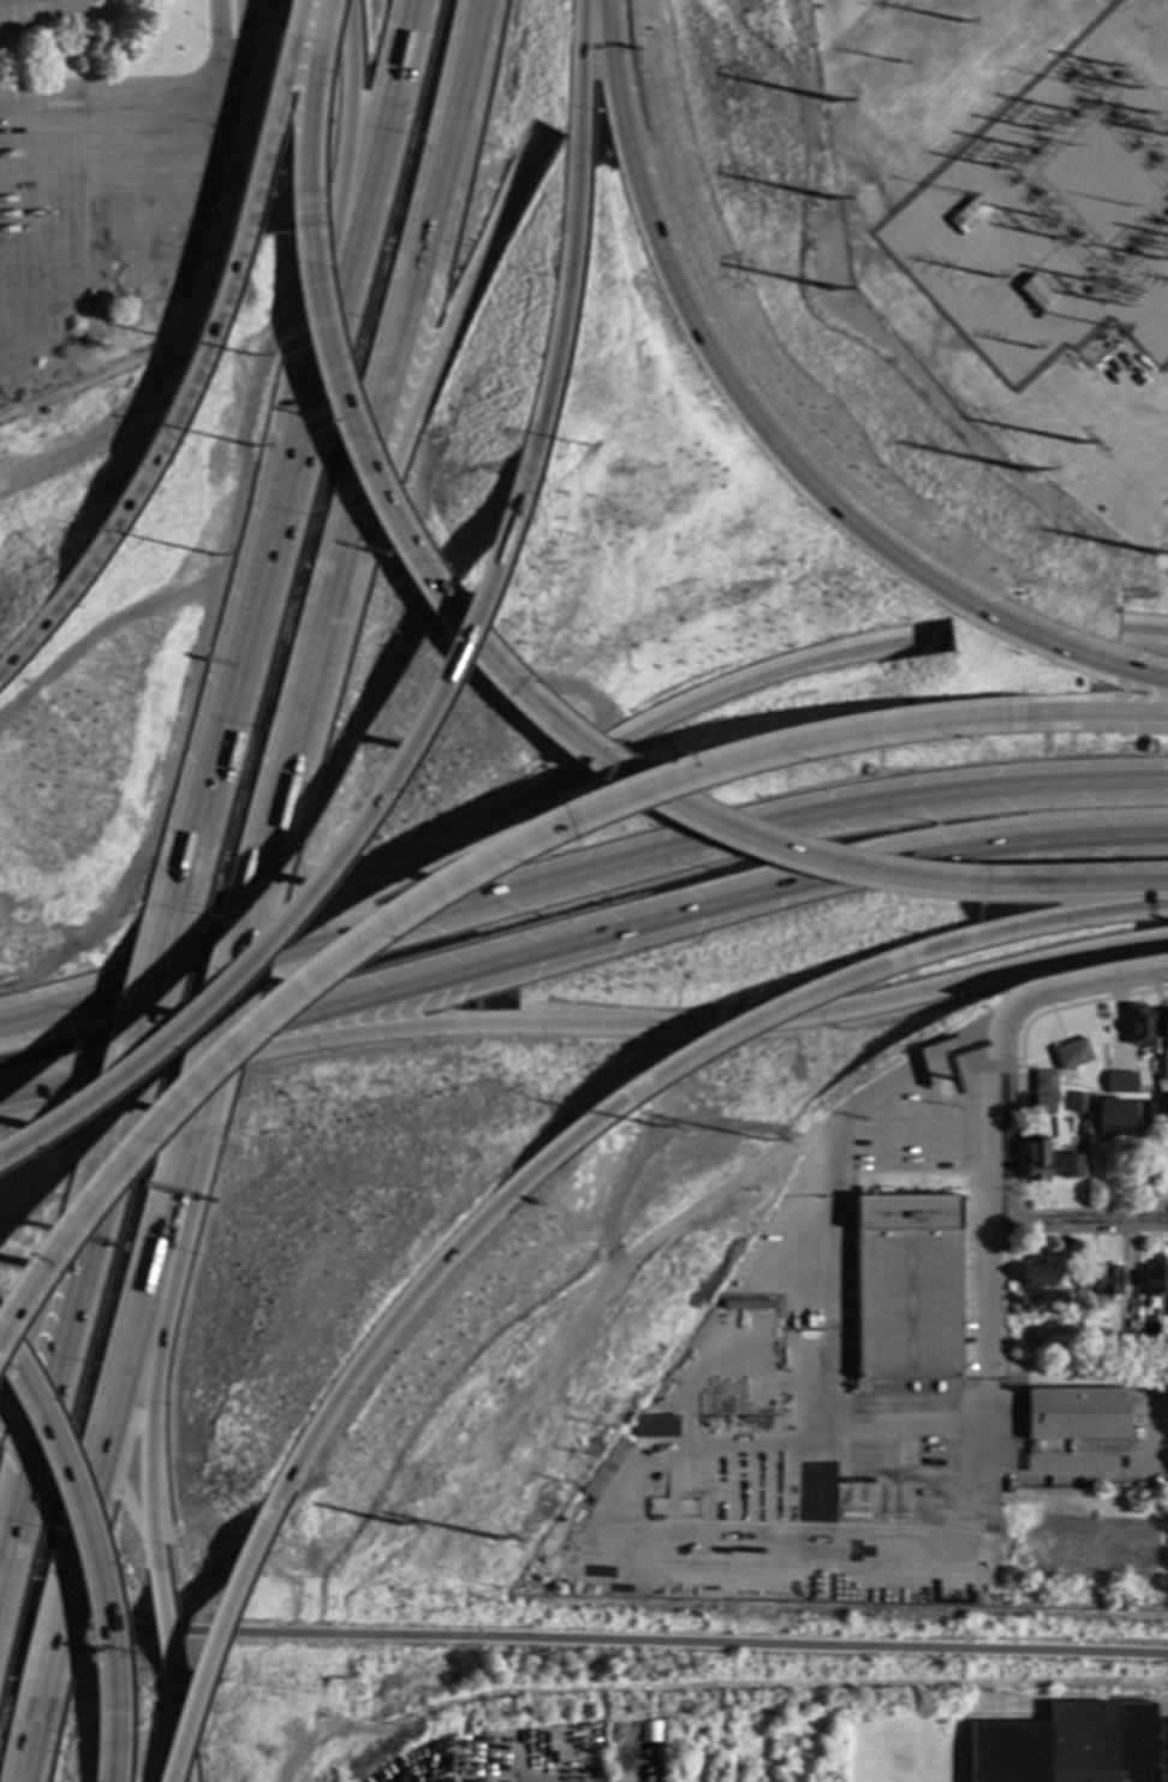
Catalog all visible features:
road: (58, 7)
parking lot: (34, 17)
road: (13, 19)
power tower: (958, 20)
road: (42, 24)
road: (219, 43)
road: (246, 43)
power tower: (893, 64)
power tower: (1120, 82)
road: (117, 85)
power tower: (832, 100)
road: (306, 101)
power tower: (1045, 119)
power tower: (1154, 123)
power tower: (1006, 158)
road: (443, 161)
road: (155, 188)
road: (341, 189)
road: (368, 189)
road: (106, 192)
power tower: (828, 197)
parking lot: (103, 203)
power substation: (1057, 212)
building: (967, 215)
road: (62, 218)
road: (570, 227)
power tower: (1047, 227)
road: (16, 242)
power tower: (1162, 250)
power tower: (991, 278)
power tower: (833, 287)
road: (169, 290)
power tower: (1091, 291)
building: (1035, 292)
road: (437, 340)
power tower: (1031, 348)
power tower: (249, 354)
road: (198, 357)
road: (125, 420)
road: (767, 438)
road: (376, 440)
power tower: (254, 445)
power tower: (1071, 446)
power tower: (1020, 470)
road: (397, 531)
power tower: (1154, 552)
power tower: (211, 554)
road: (1144, 631)
road: (243, 652)
road: (1096, 713)
road: (302, 720)
road: (513, 812)
road: (333, 853)
road: (798, 855)
road: (620, 866)
road: (1074, 887)
road: (435, 889)
road: (1027, 929)
road: (616, 932)
road: (1081, 985)
road: (41, 1015)
road: (222, 1017)
road: (765, 1022)
road: (622, 1023)
building: (1138, 1026)
building: (1164, 1026)
road: (133, 1052)
building: (1069, 1055)
building: (1160, 1068)
building: (1043, 1081)
building: (1120, 1082)
building: (942, 1086)
road: (37, 1087)
building: (1161, 1087)
building: (1077, 1103)
building: (1042, 1105)
building: (1161, 1106)
road: (928, 1109)
building: (1143, 1111)
building: (1112, 1117)
road: (1002, 1119)
road: (838, 1122)
road: (878, 1127)
power tower: (655, 1128)
power tower: (764, 1141)
building: (1035, 1159)
building: (1068, 1166)
road: (910, 1172)
road: (981, 1201)
road: (1086, 1217)
road: (791, 1218)
road: (422, 1277)
building: (1036, 1277)
building: (1102, 1279)
building: (1155, 1279)
building: (905, 1287)
road: (43, 1291)
building: (1167, 1301)
building: (749, 1305)
building: (1122, 1321)
building: (1150, 1324)
road: (153, 1359)
road: (125, 1366)
road: (48, 1368)
road: (29, 1401)
building: (1077, 1413)
building: (656, 1426)
building: (608, 1468)
power tower: (395, 1525)
power tower: (493, 1539)
road: (100, 1615)
road: (162, 1622)
road: (584, 1639)
road: (52, 1641)
road: (207, 1651)
road: (708, 1686)
road: (173, 1689)
road: (1161, 1711)
building: (649, 1733)
road: (179, 1740)
building: (780, 1740)
road: (31, 1741)
building: (823, 1745)
building: (1073, 1746)
road: (184, 1780)

